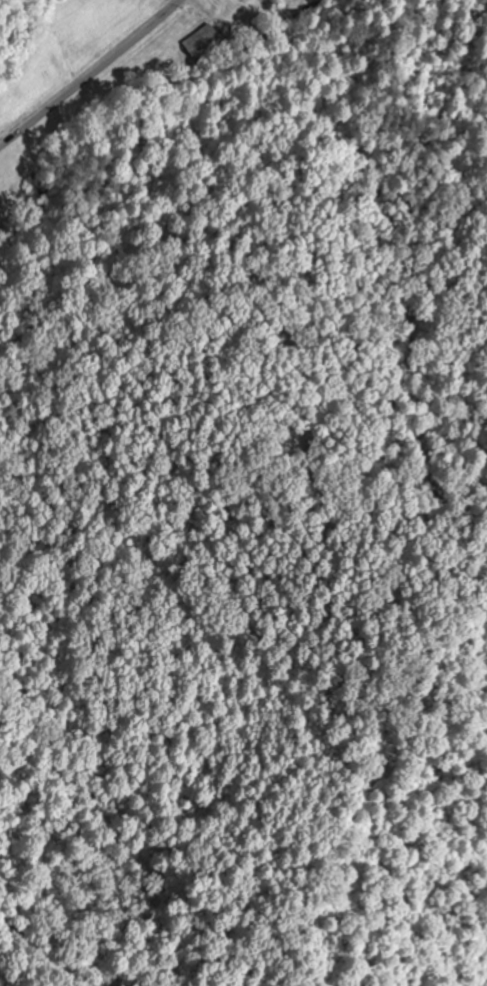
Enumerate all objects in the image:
building: (200, 40)
road: (92, 75)

